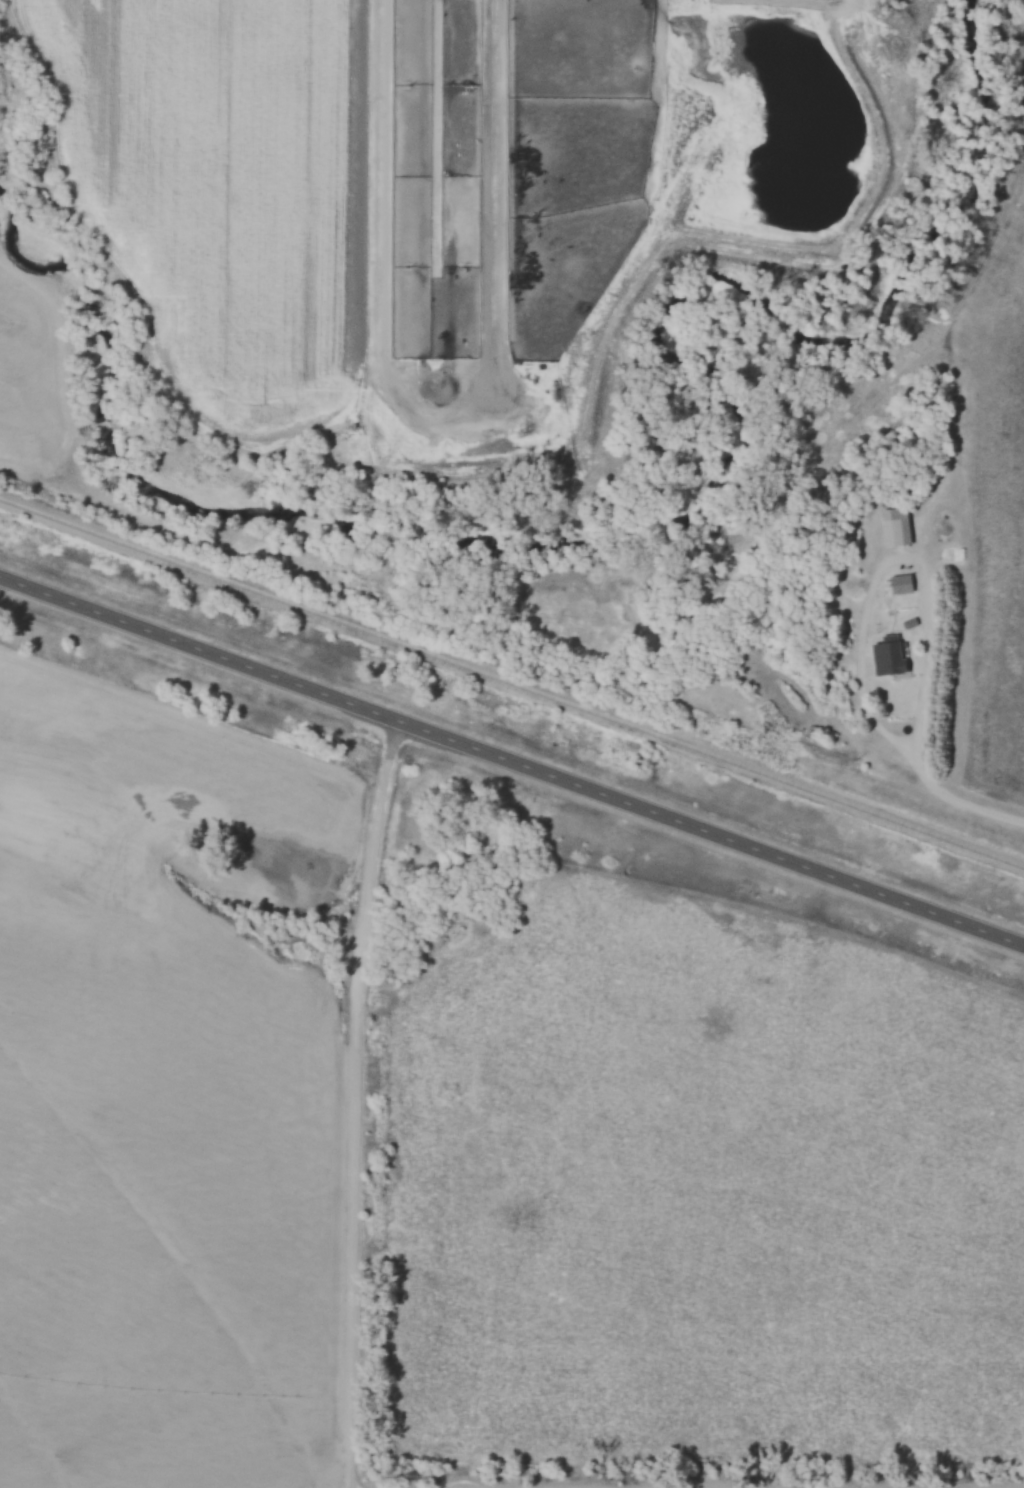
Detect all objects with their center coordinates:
crop: (221, 191)
building: (897, 527)
road: (903, 554)
building: (903, 585)
building: (887, 654)
railway: (510, 688)
road: (511, 760)
road: (953, 792)
road: (356, 1102)

